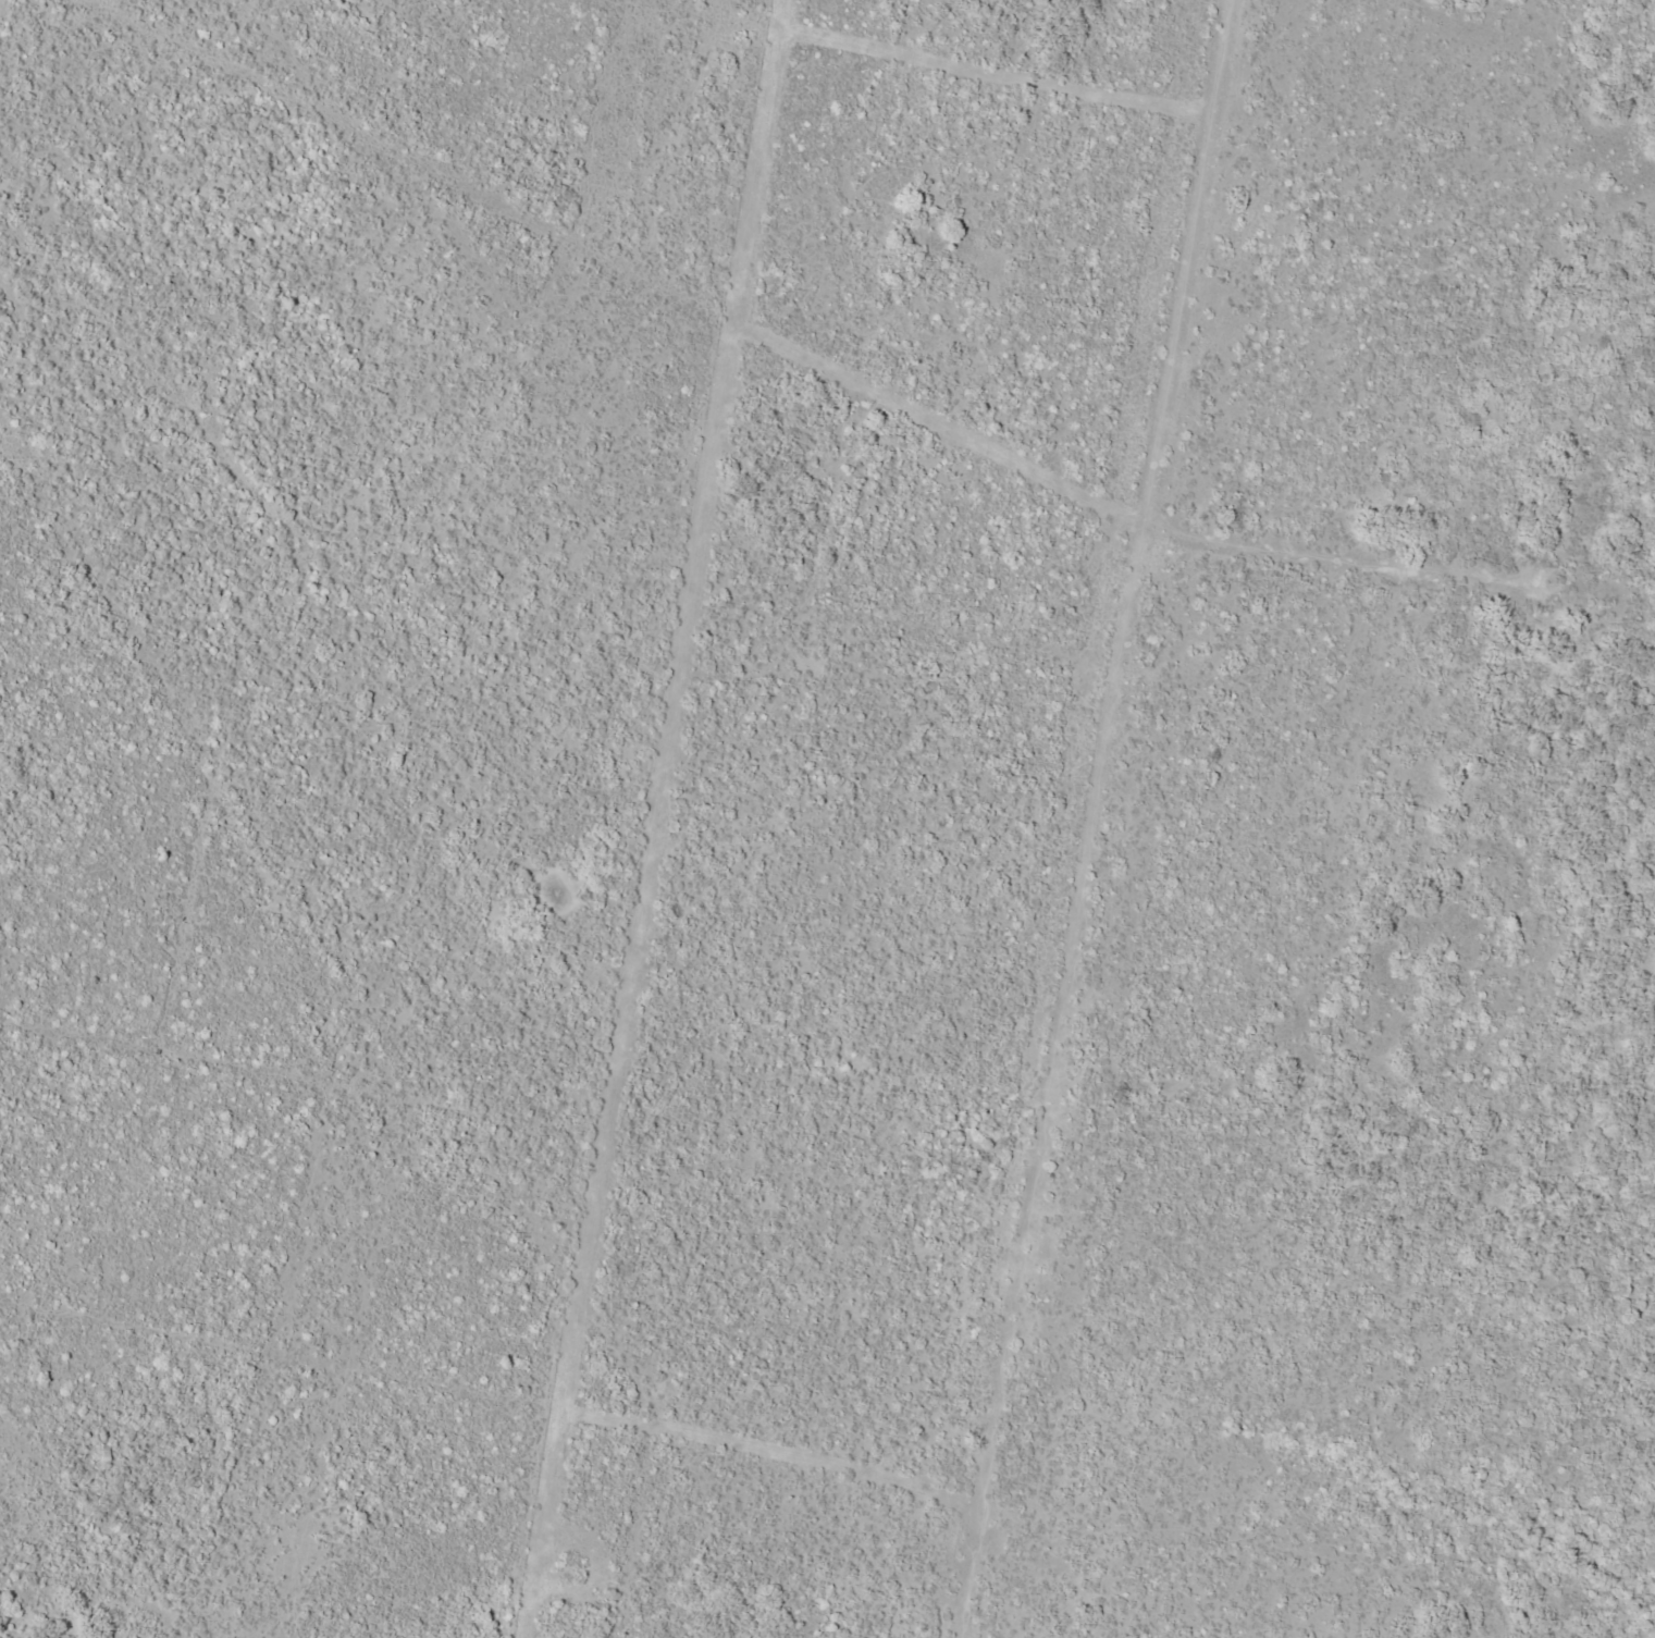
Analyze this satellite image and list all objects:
road: (16, 37)
road: (67, 1552)

